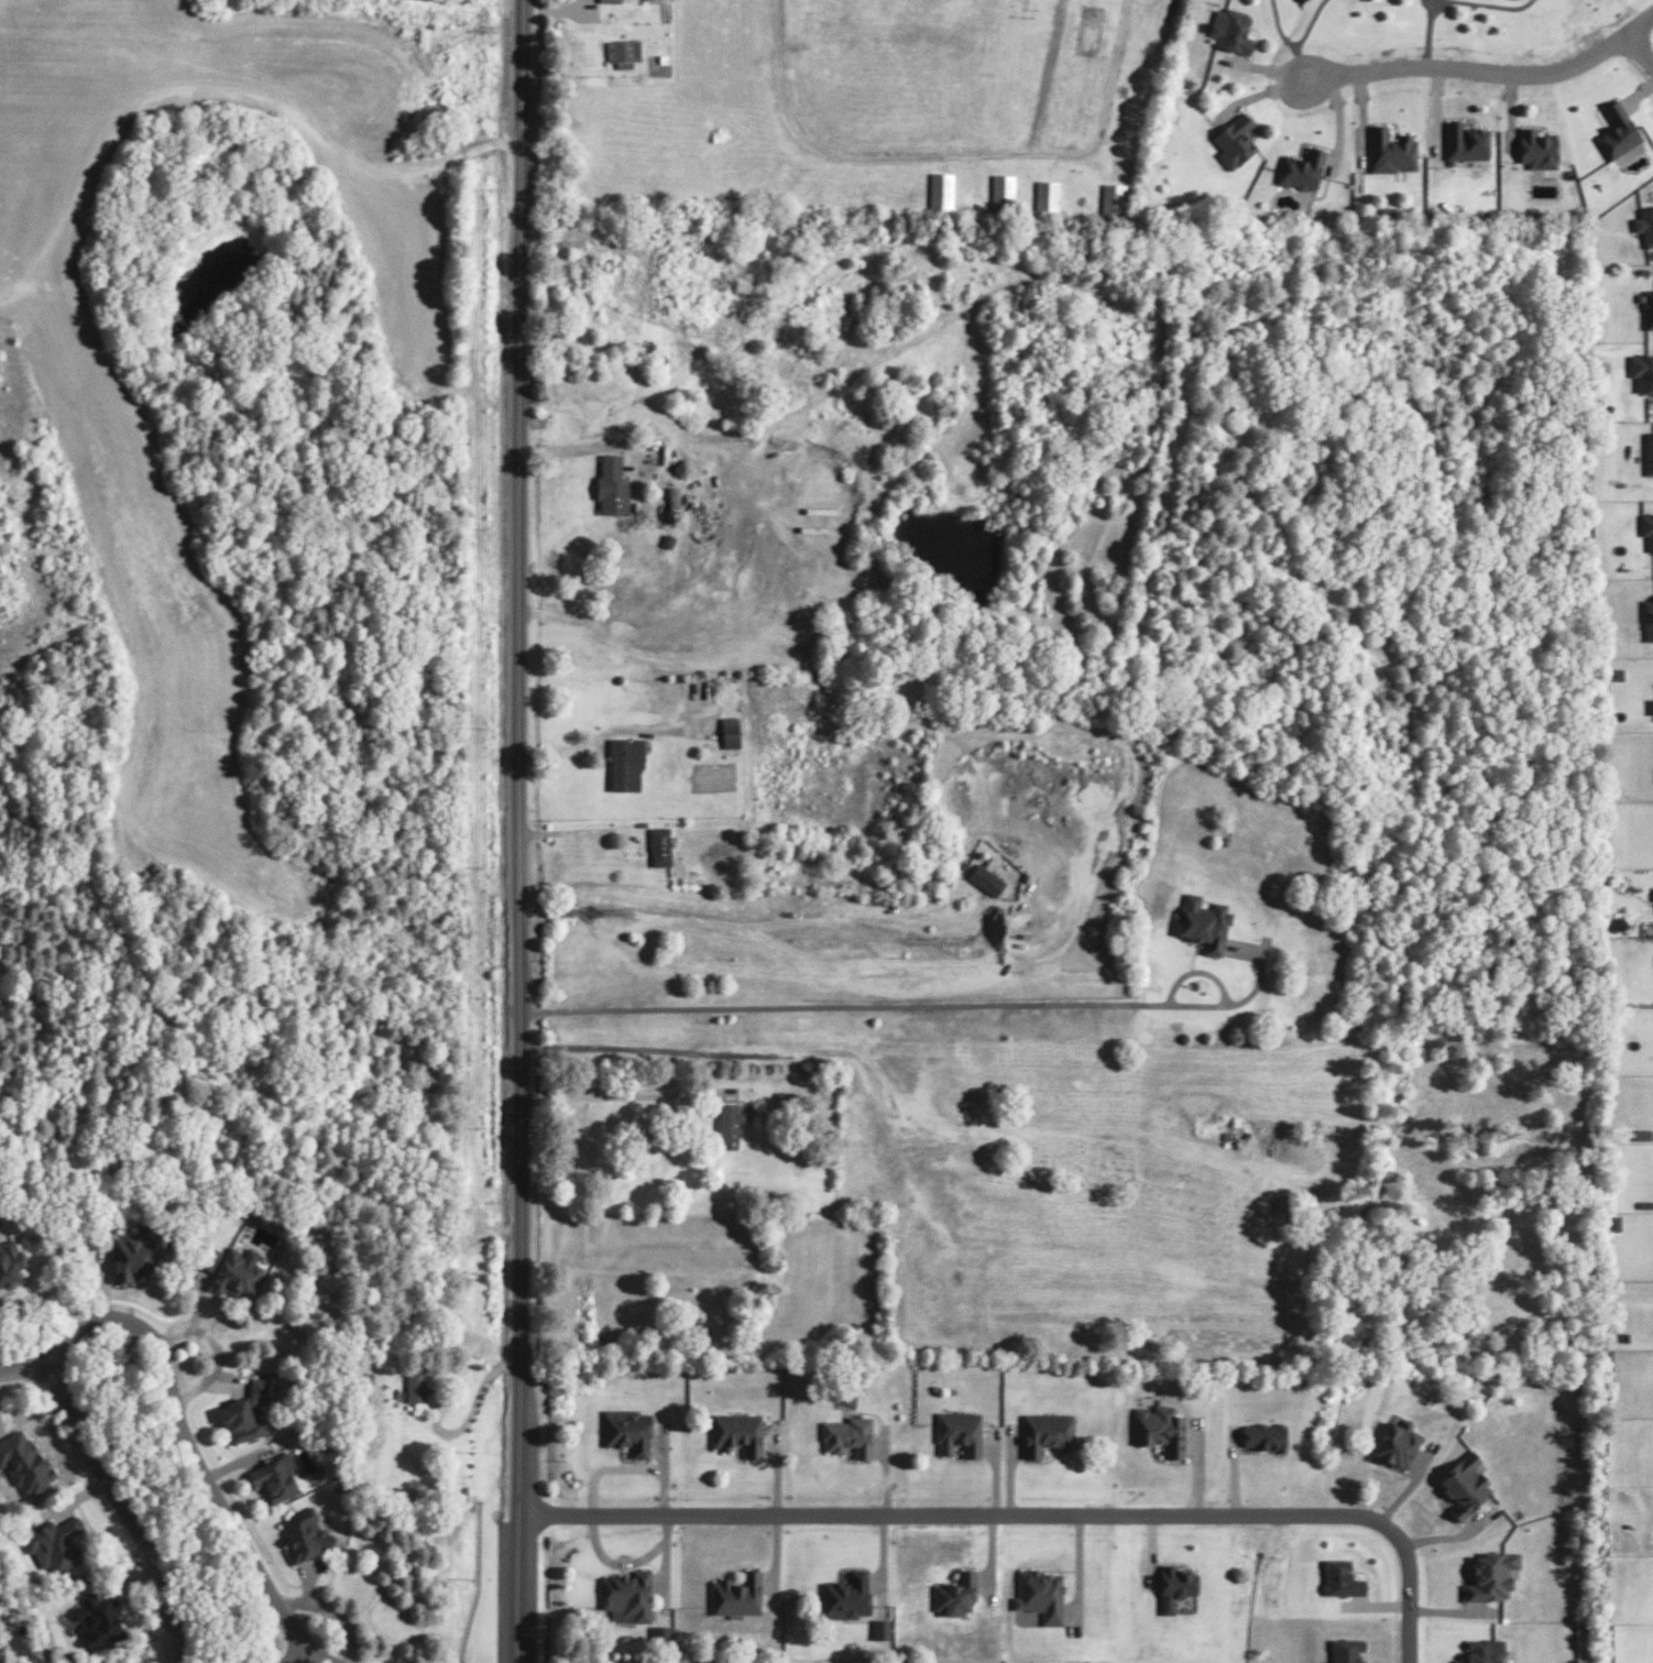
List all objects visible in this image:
building: (607, 0)
road: (1513, 0)
road: (556, 9)
building: (1230, 30)
road: (1426, 30)
road: (1293, 35)
road: (1641, 42)
building: (621, 51)
road: (1298, 55)
road: (1482, 65)
road: (1043, 73)
building: (1617, 131)
building: (1234, 140)
building: (1464, 141)
building: (1536, 147)
road: (950, 149)
building: (1390, 150)
building: (1301, 169)
building: (940, 189)
building: (1001, 192)
building: (1046, 194)
building: (1113, 197)
building: (1644, 225)
building: (593, 267)
building: (1647, 308)
building: (1642, 371)
road: (571, 449)
building: (1647, 452)
building: (610, 485)
building: (674, 495)
building: (1646, 528)
building: (1647, 619)
building: (1650, 705)
road: (614, 727)
building: (729, 730)
building: (624, 759)
road: (518, 831)
road: (571, 831)
building: (657, 844)
building: (989, 880)
building: (1652, 894)
road: (764, 919)
building: (1203, 922)
road: (921, 997)
road: (620, 1094)
building: (729, 1123)
building: (134, 1254)
building: (9, 1259)
building: (234, 1271)
road: (103, 1283)
road: (196, 1290)
road: (63, 1338)
road: (217, 1347)
road: (226, 1377)
building: (416, 1387)
building: (242, 1412)
building: (1159, 1427)
building: (627, 1430)
building: (736, 1432)
building: (959, 1432)
building: (1047, 1432)
building: (847, 1435)
building: (1262, 1435)
building: (1397, 1443)
building: (24, 1459)
road: (236, 1463)
road: (625, 1467)
building: (273, 1476)
building: (1465, 1484)
road: (76, 1497)
road: (219, 1502)
road: (122, 1508)
road: (959, 1508)
building: (303, 1533)
building: (51, 1542)
building: (1492, 1575)
building: (1339, 1577)
road: (308, 1579)
building: (1174, 1586)
building: (955, 1593)
road: (1410, 1593)
building: (736, 1594)
building: (1040, 1594)
building: (627, 1595)
building: (846, 1596)
road: (132, 1604)
road: (333, 1607)
building: (99, 1619)
building: (880, 1628)
building: (658, 1632)
road: (295, 1650)
building: (1345, 1650)
building: (1484, 1651)
building: (1, 1652)

